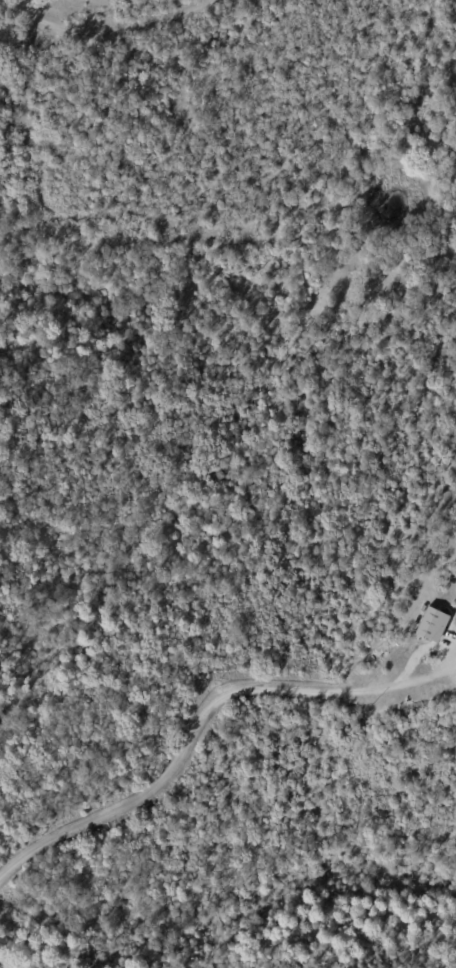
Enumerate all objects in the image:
building: (429, 623)
road: (207, 722)

